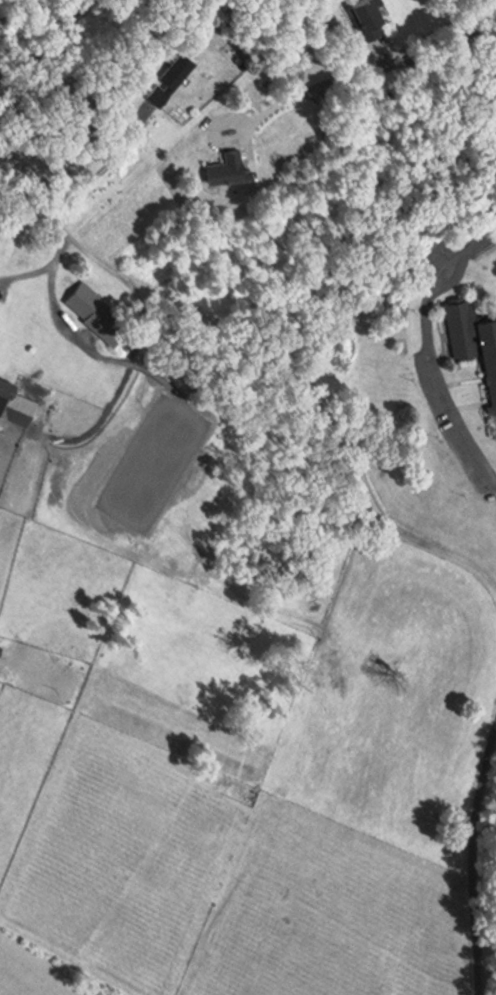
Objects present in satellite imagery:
building: (357, 17)
road: (42, 36)
road: (377, 69)
building: (162, 79)
road: (101, 166)
building: (221, 169)
road: (31, 201)
building: (90, 311)
building: (472, 345)
road: (425, 349)
road: (122, 357)
building: (11, 405)
road: (469, 850)

